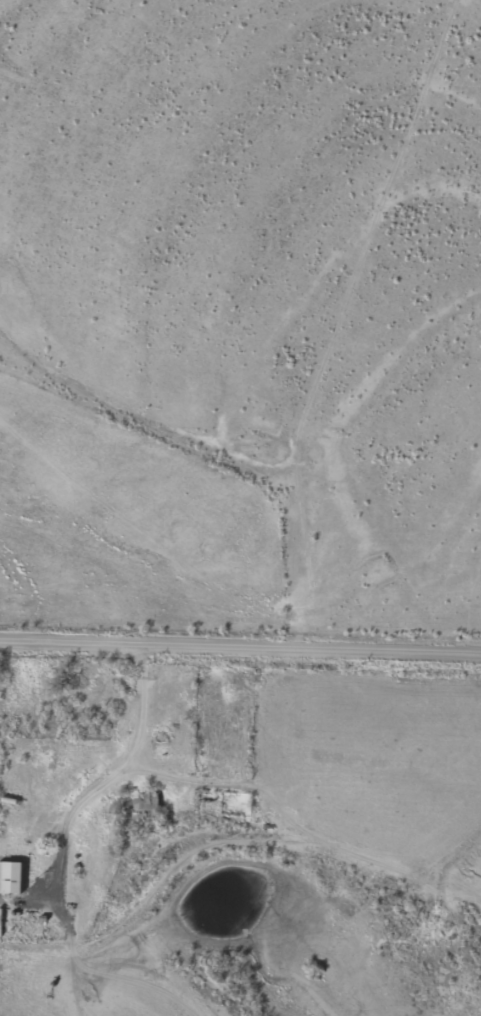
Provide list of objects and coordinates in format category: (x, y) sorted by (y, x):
road: (240, 644)
building: (140, 802)
building: (11, 879)

